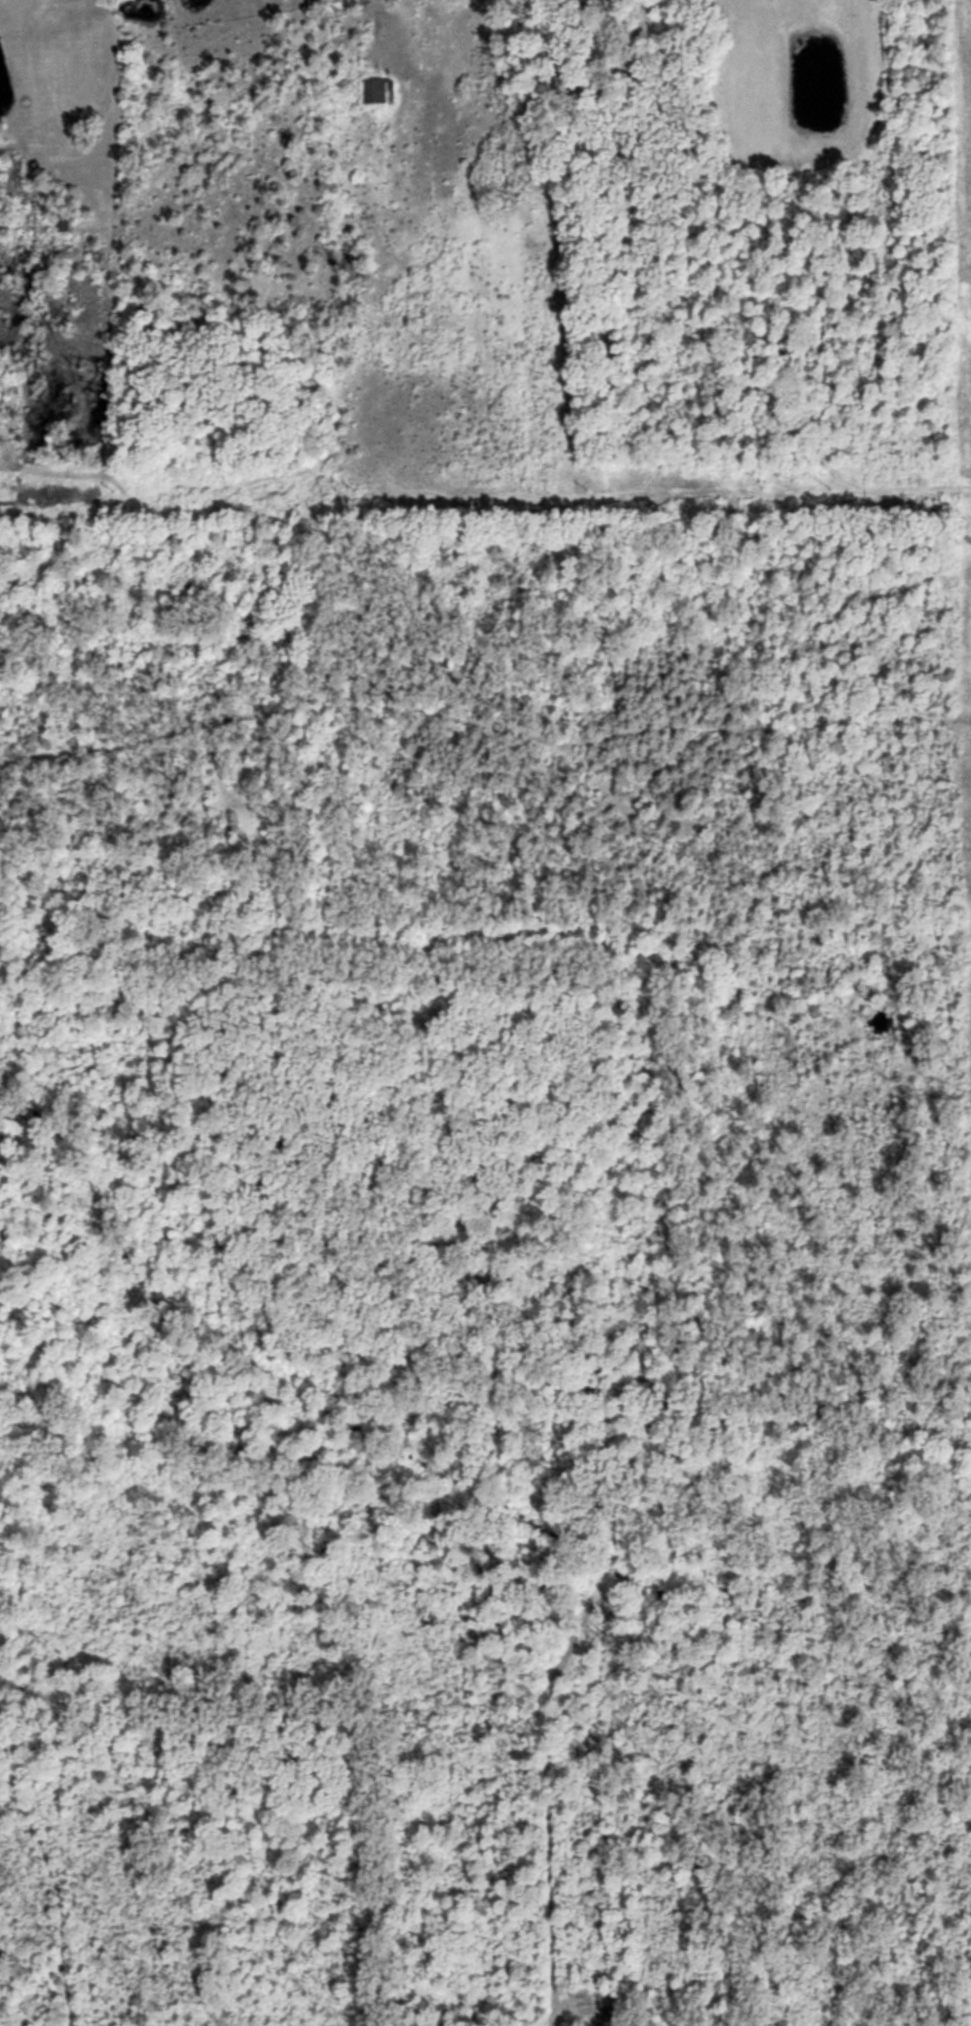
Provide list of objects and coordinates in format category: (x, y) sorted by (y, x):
building: (377, 90)
road: (548, 1835)

